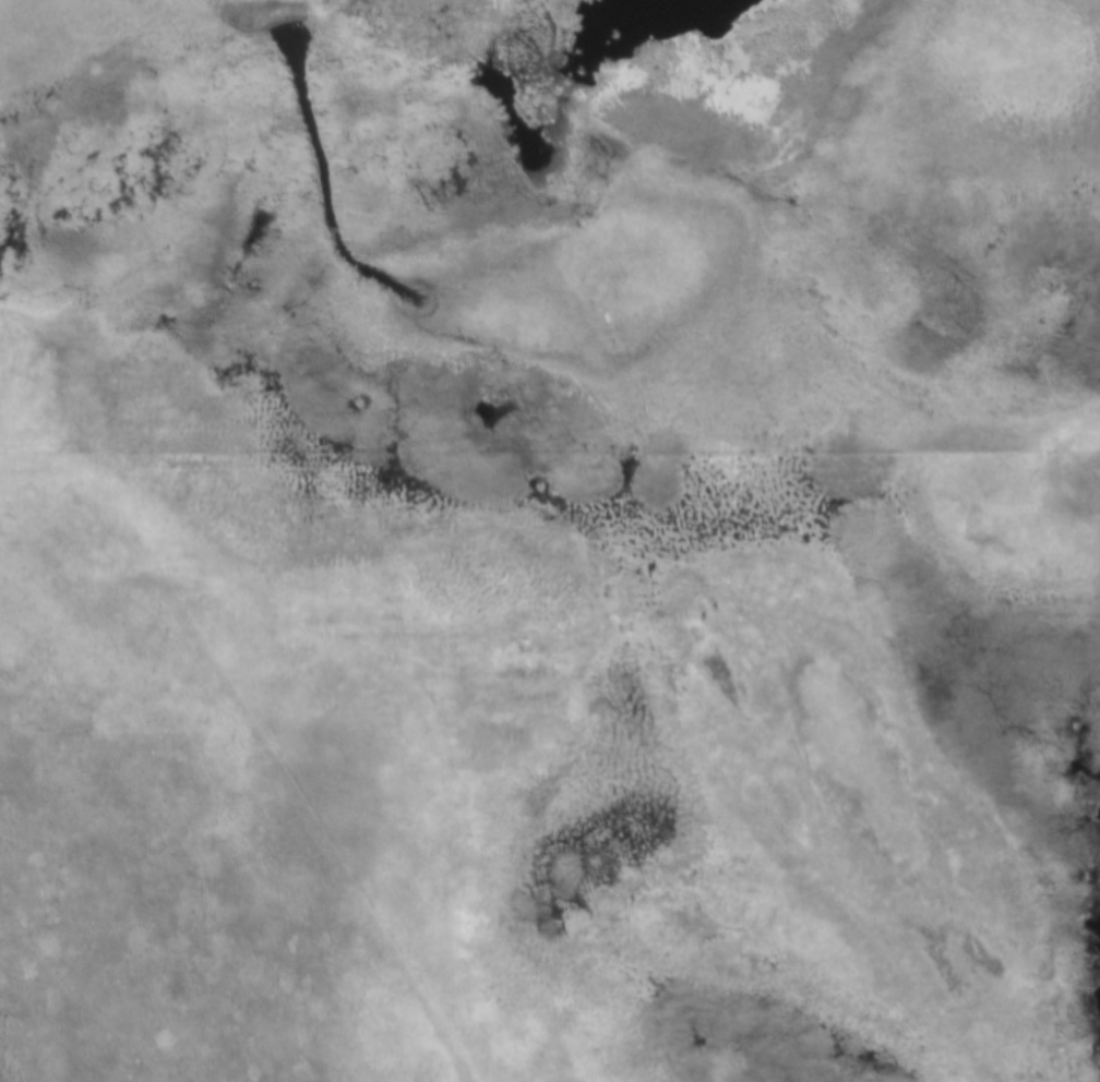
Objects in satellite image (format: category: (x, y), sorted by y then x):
road: (9, 446)

